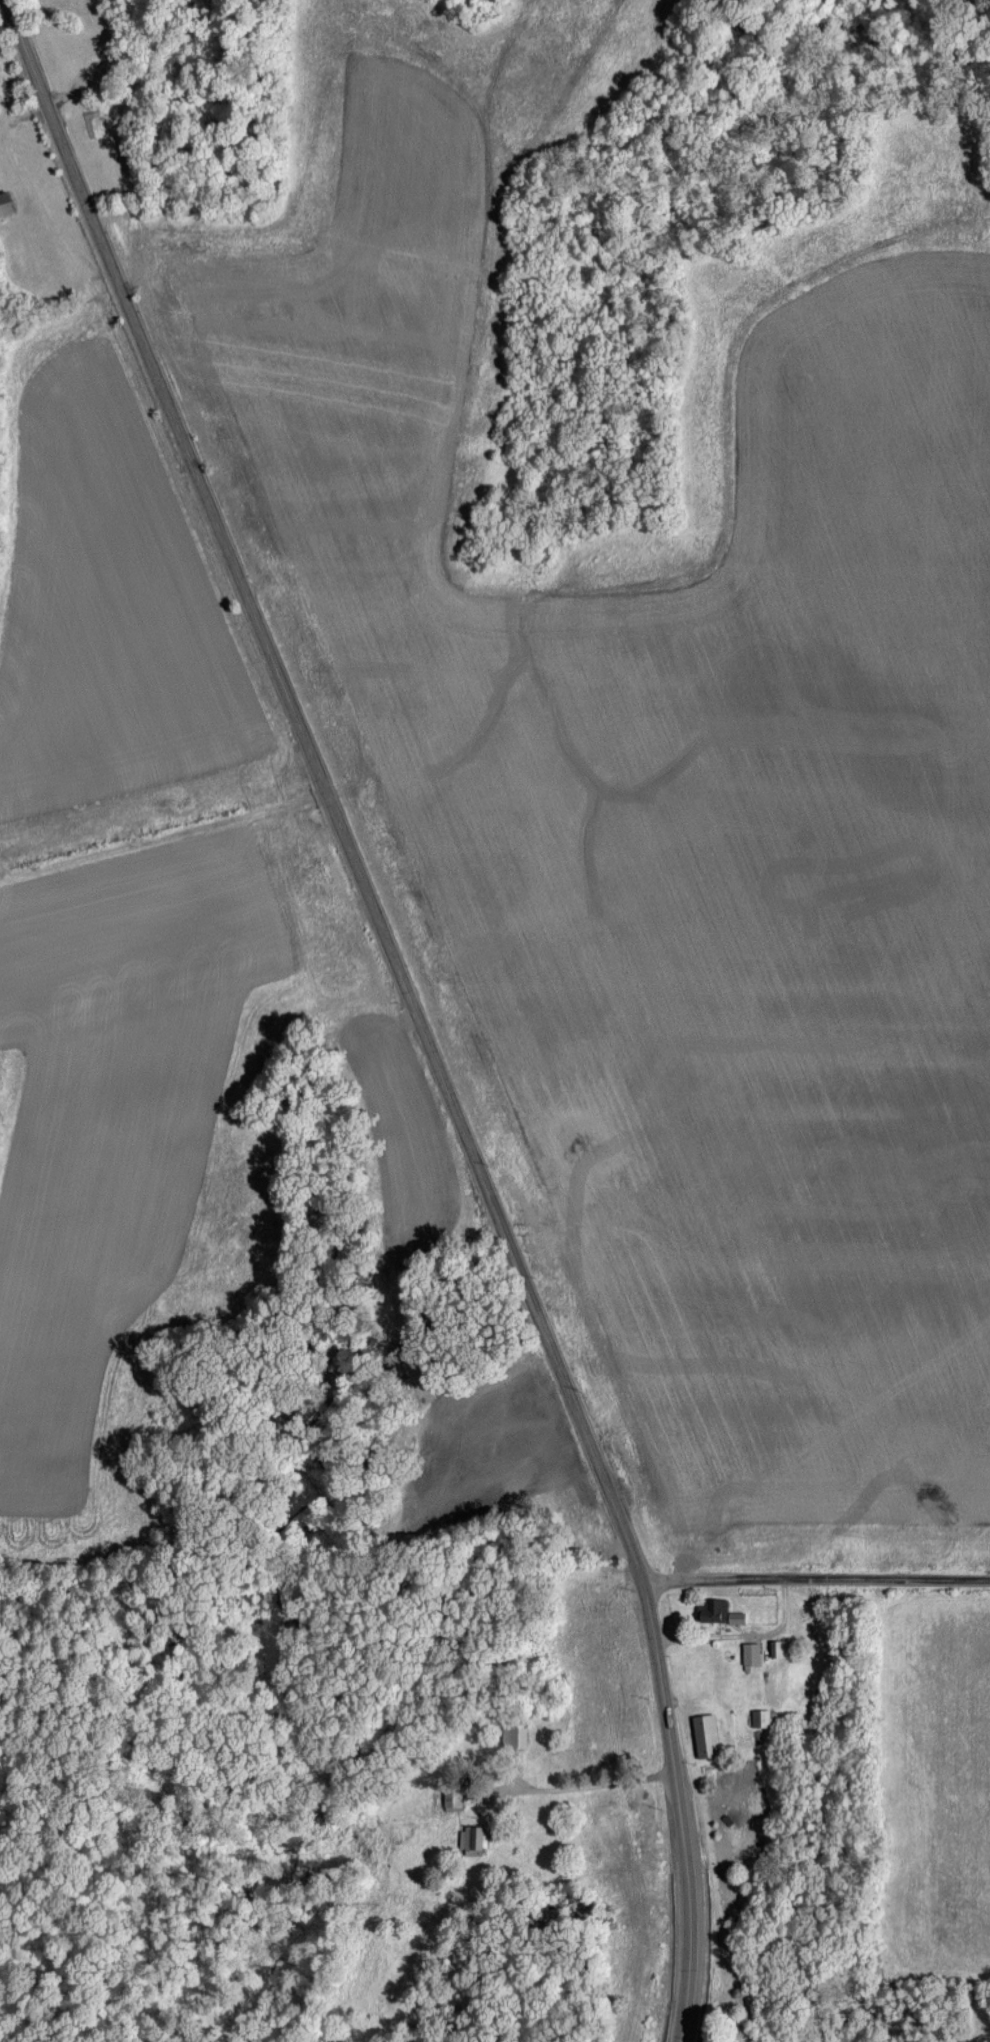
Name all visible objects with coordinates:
building: (5, 202)
road: (414, 1005)
road: (817, 1579)
building: (712, 1609)
building: (735, 1616)
building: (778, 1647)
building: (750, 1652)
building: (760, 1717)
building: (514, 1735)
building: (704, 1735)
building: (452, 1797)
building: (470, 1839)

